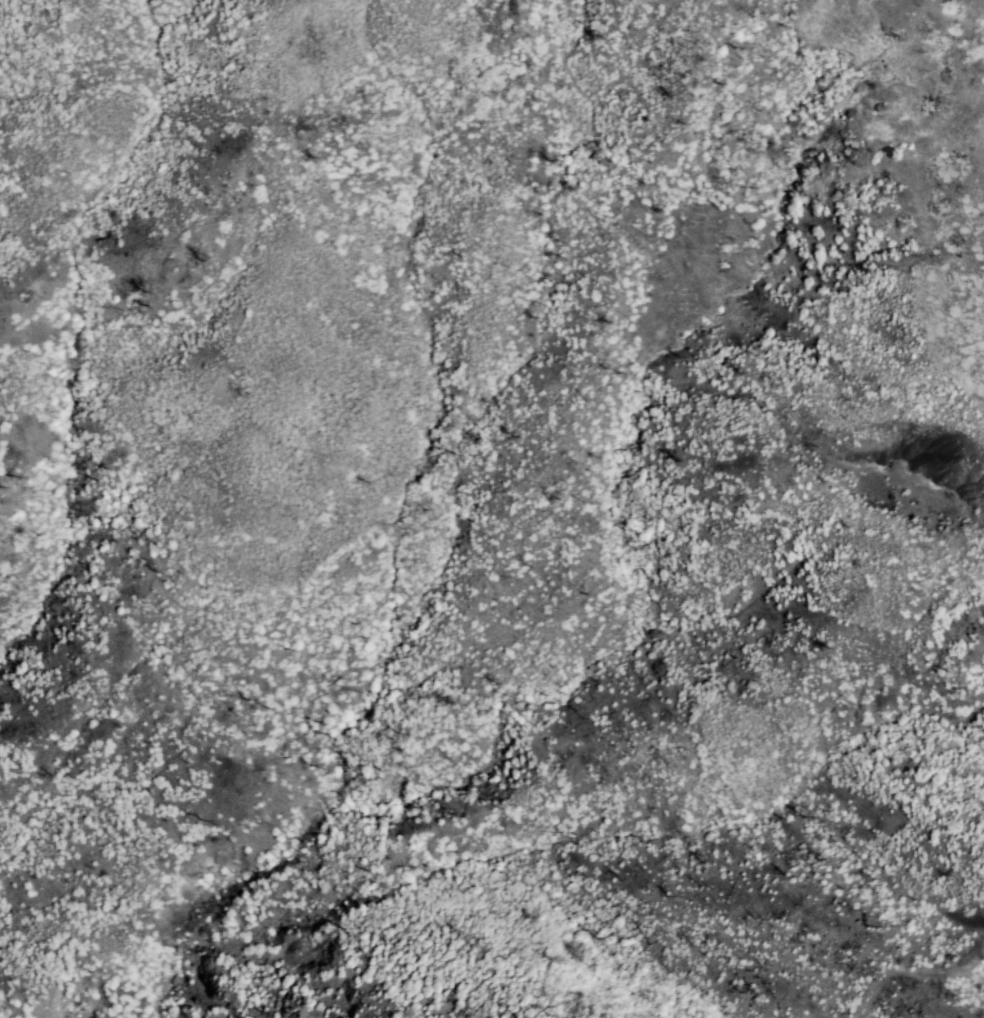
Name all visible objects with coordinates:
road: (915, 971)

